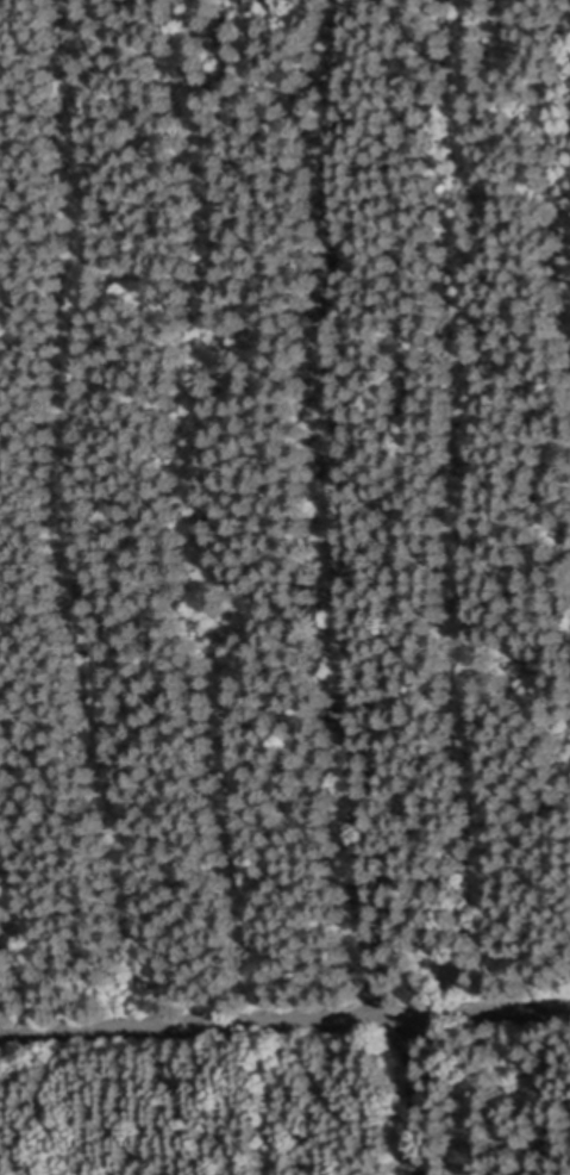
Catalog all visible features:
road: (340, 508)
road: (284, 1020)
road: (418, 1096)

